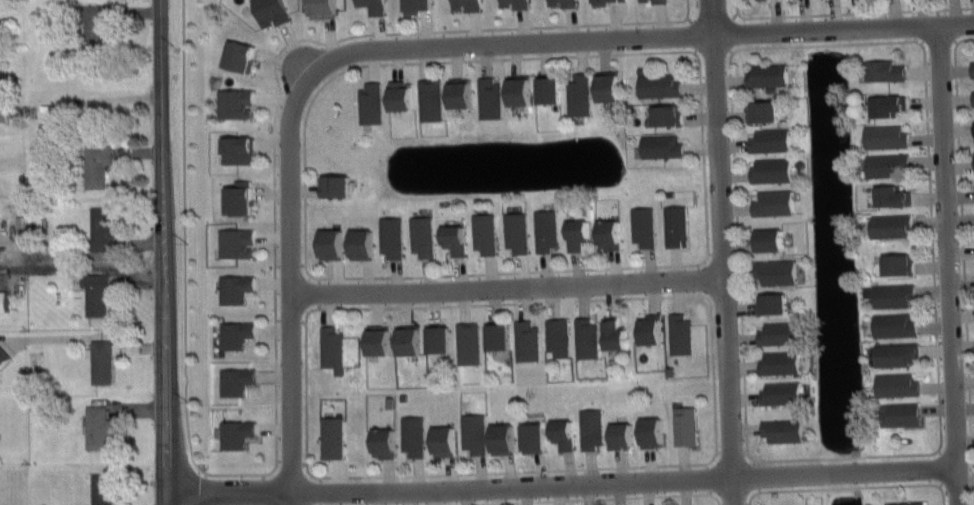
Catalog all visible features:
building: (607, 0)
building: (597, 1)
building: (656, 1)
building: (561, 2)
building: (512, 3)
building: (463, 4)
building: (412, 5)
building: (371, 6)
building: (319, 8)
building: (267, 11)
road: (848, 12)
building: (95, 23)
road: (638, 37)
building: (237, 53)
building: (881, 68)
building: (973, 68)
building: (764, 73)
building: (655, 83)
building: (606, 85)
building: (544, 87)
building: (515, 88)
road: (700, 88)
building: (457, 92)
building: (576, 93)
building: (396, 94)
building: (486, 96)
road: (100, 97)
building: (973, 97)
building: (427, 98)
building: (233, 101)
building: (367, 102)
building: (883, 103)
building: (760, 109)
building: (3, 112)
building: (662, 113)
building: (883, 135)
building: (767, 138)
building: (659, 144)
building: (236, 147)
building: (883, 163)
building: (98, 164)
building: (768, 168)
building: (331, 184)
building: (888, 194)
building: (236, 198)
building: (770, 201)
building: (673, 223)
building: (888, 223)
building: (640, 225)
building: (104, 228)
building: (542, 228)
building: (513, 229)
building: (482, 231)
building: (573, 232)
building: (606, 232)
building: (420, 234)
building: (388, 235)
building: (451, 237)
building: (766, 238)
building: (234, 240)
building: (327, 242)
building: (358, 242)
road: (163, 252)
road: (719, 252)
road: (84, 253)
road: (963, 262)
building: (894, 263)
road: (947, 265)
road: (83, 266)
building: (773, 269)
road: (289, 283)
road: (504, 284)
building: (233, 285)
building: (890, 293)
building: (97, 294)
building: (4, 301)
building: (770, 302)
road: (274, 316)
building: (892, 323)
building: (647, 327)
building: (233, 331)
building: (611, 331)
building: (677, 332)
building: (777, 332)
building: (494, 333)
building: (554, 334)
building: (435, 336)
building: (583, 336)
building: (374, 338)
building: (405, 338)
building: (523, 338)
building: (465, 342)
building: (329, 346)
building: (892, 353)
building: (4, 357)
building: (102, 361)
building: (778, 362)
building: (233, 380)
building: (895, 383)
building: (779, 392)
building: (896, 413)
road: (939, 423)
building: (682, 424)
building: (99, 426)
building: (588, 426)
building: (780, 428)
building: (649, 430)
building: (470, 431)
building: (233, 432)
building: (561, 432)
building: (410, 434)
building: (619, 434)
building: (330, 435)
building: (530, 436)
building: (499, 438)
building: (440, 439)
building: (381, 441)
road: (708, 461)
road: (560, 481)
road: (850, 486)
building: (103, 488)
road: (580, 498)
building: (903, 502)

